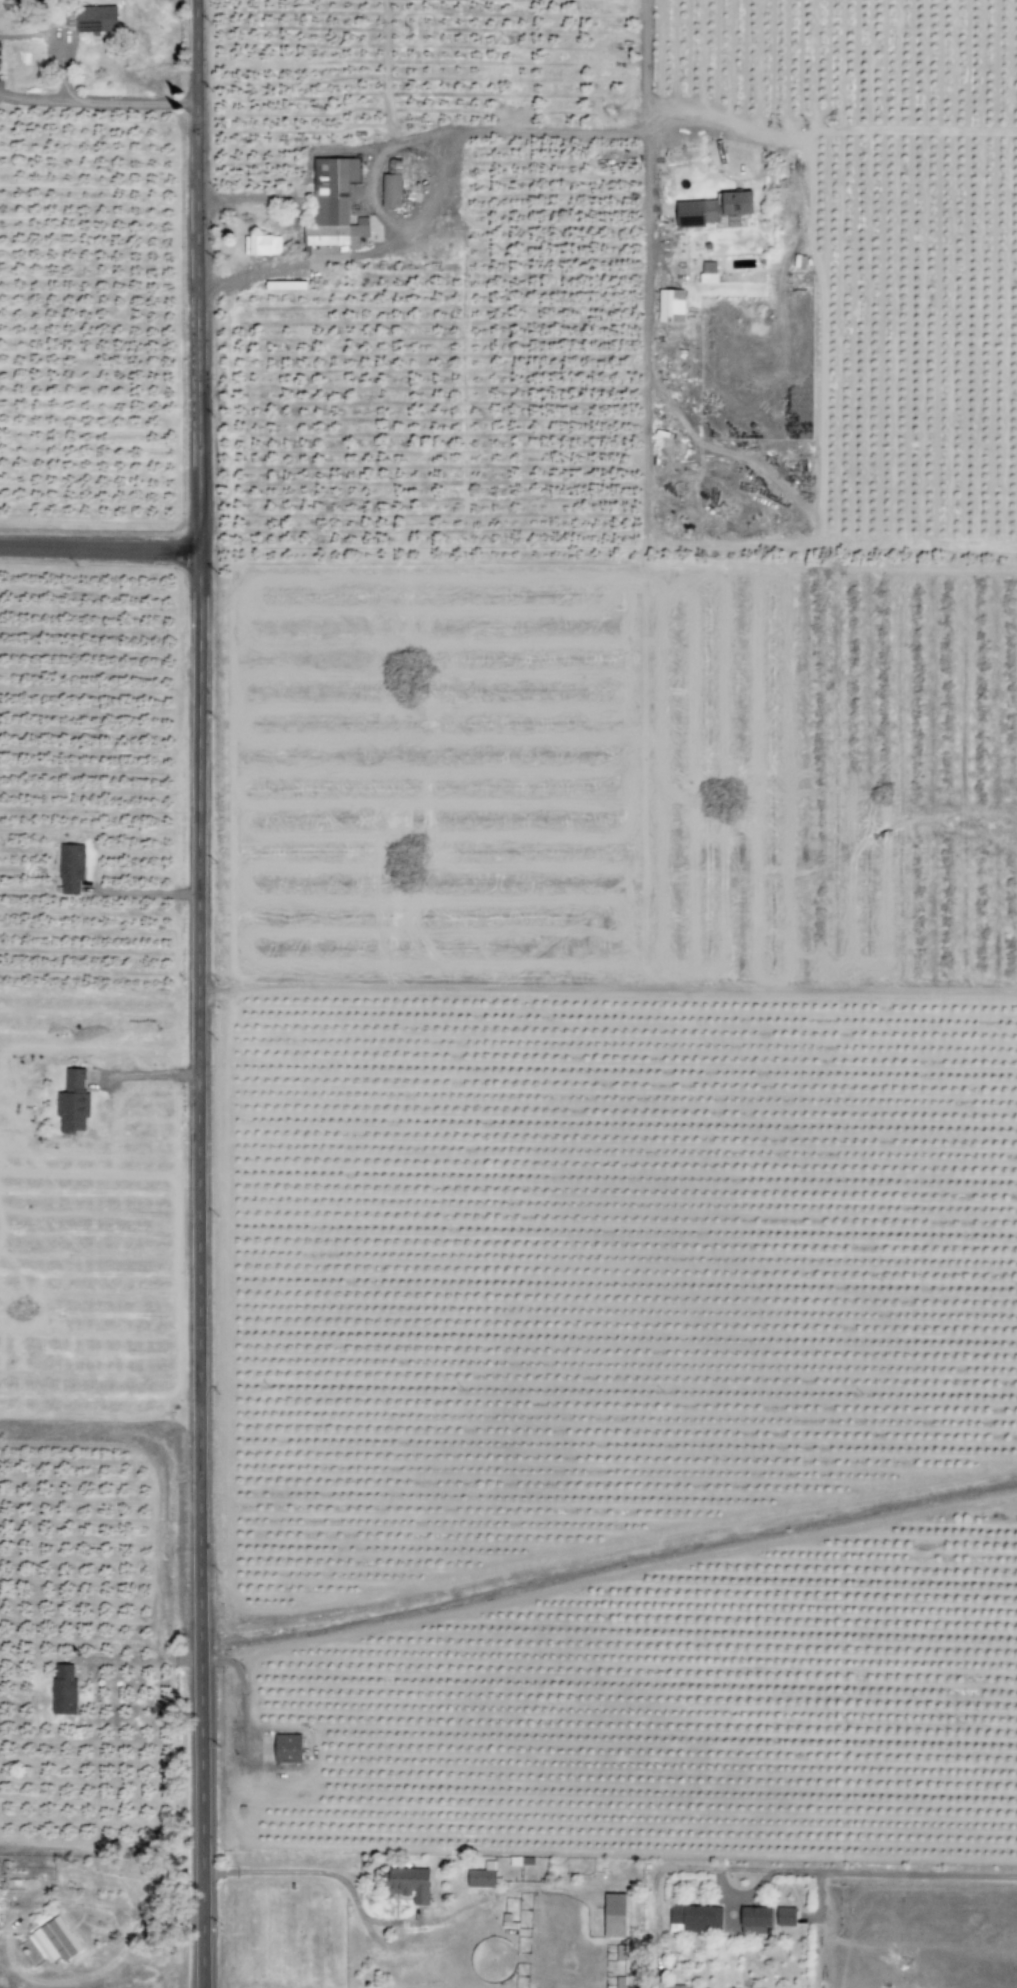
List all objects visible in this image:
building: (96, 19)
road: (96, 99)
road: (470, 134)
road: (309, 154)
building: (391, 185)
building: (738, 204)
building: (334, 205)
building: (697, 213)
building: (262, 246)
building: (799, 262)
building: (708, 273)
road: (194, 277)
building: (670, 306)
road: (99, 552)
building: (70, 867)
road: (150, 1075)
building: (73, 1102)
road: (196, 1271)
road: (71, 1416)
building: (63, 1690)
building: (287, 1748)
road: (892, 1872)
building: (482, 1877)
road: (723, 1884)
building: (410, 1885)
building: (615, 1916)
building: (786, 1917)
building: (695, 1920)
building: (754, 1921)
building: (52, 1940)
building: (671, 1987)

